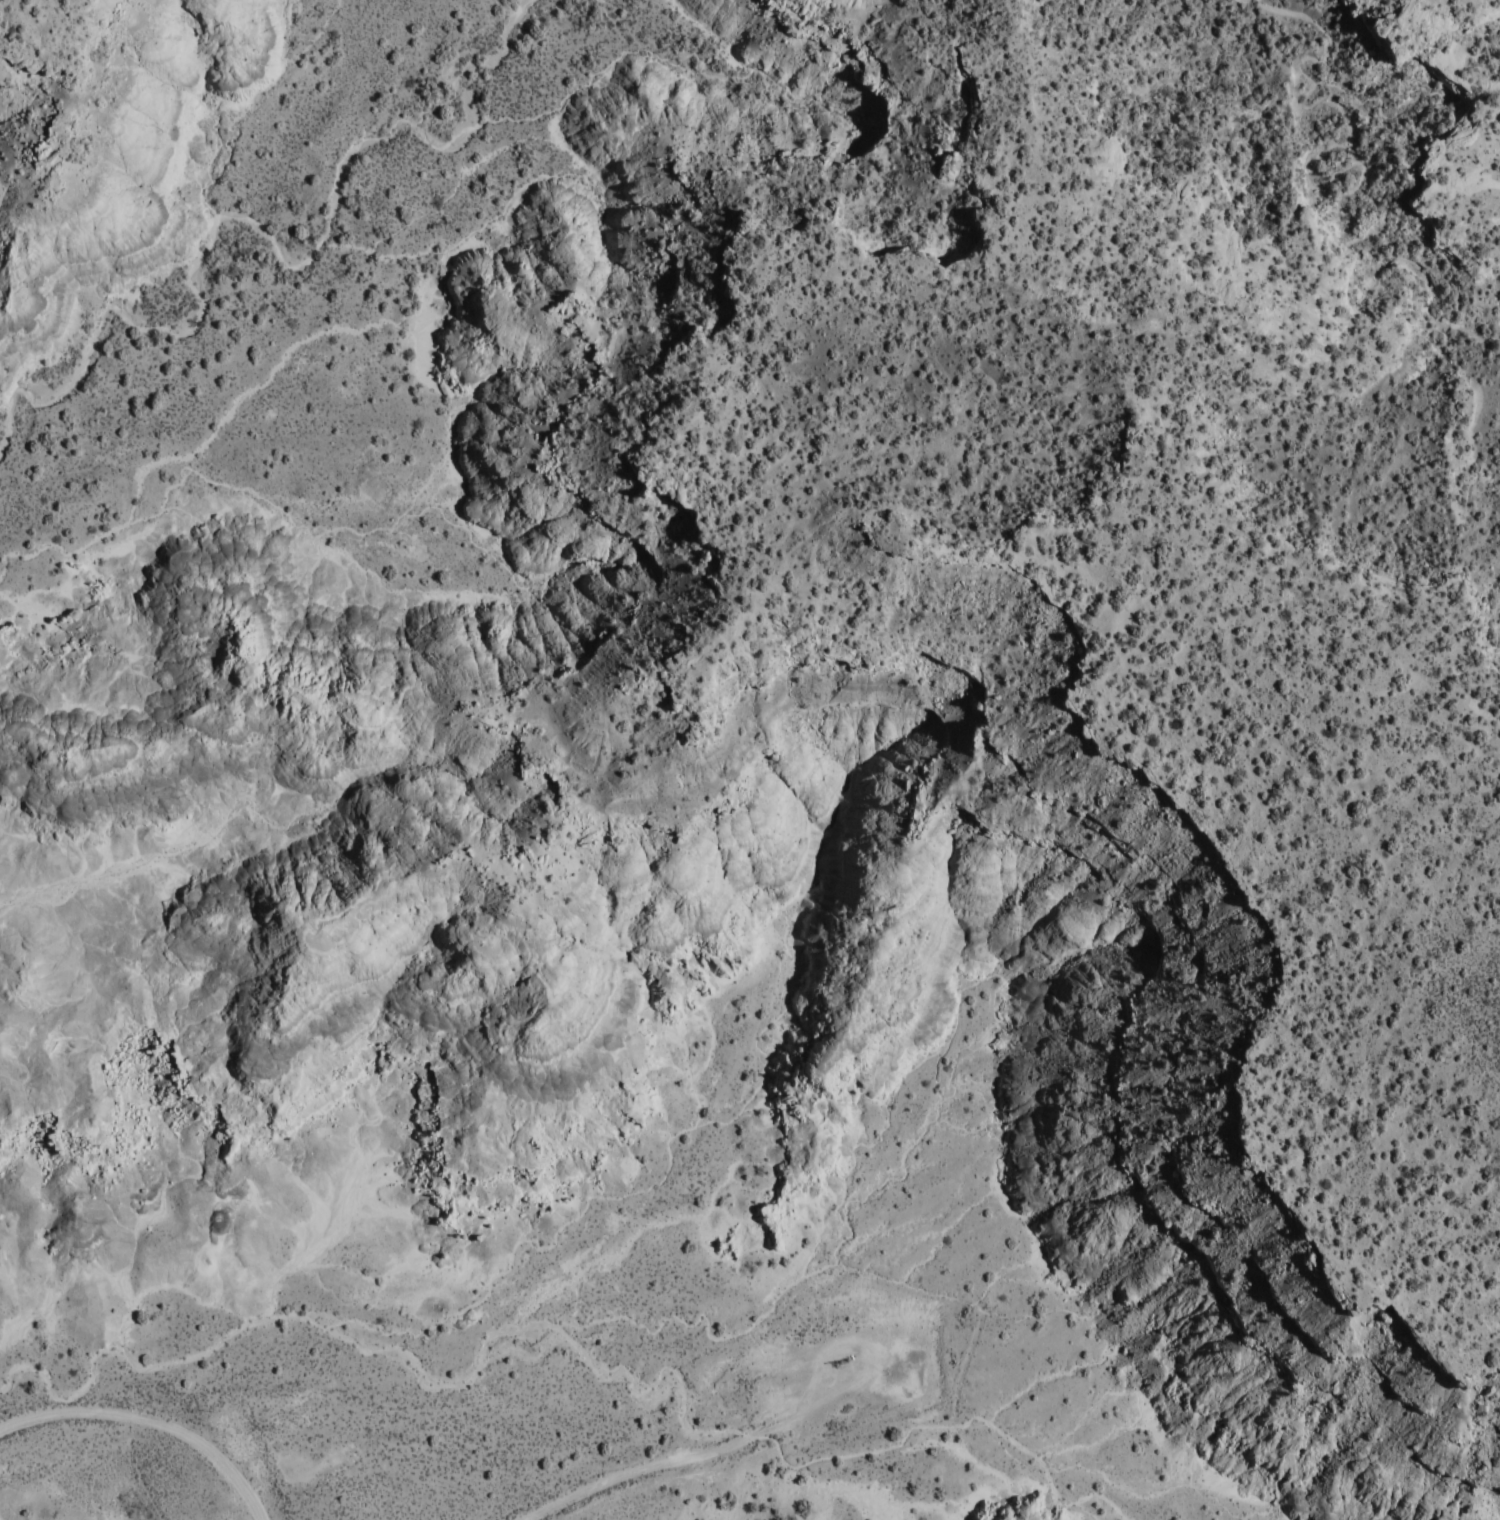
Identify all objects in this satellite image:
road: (153, 1447)

